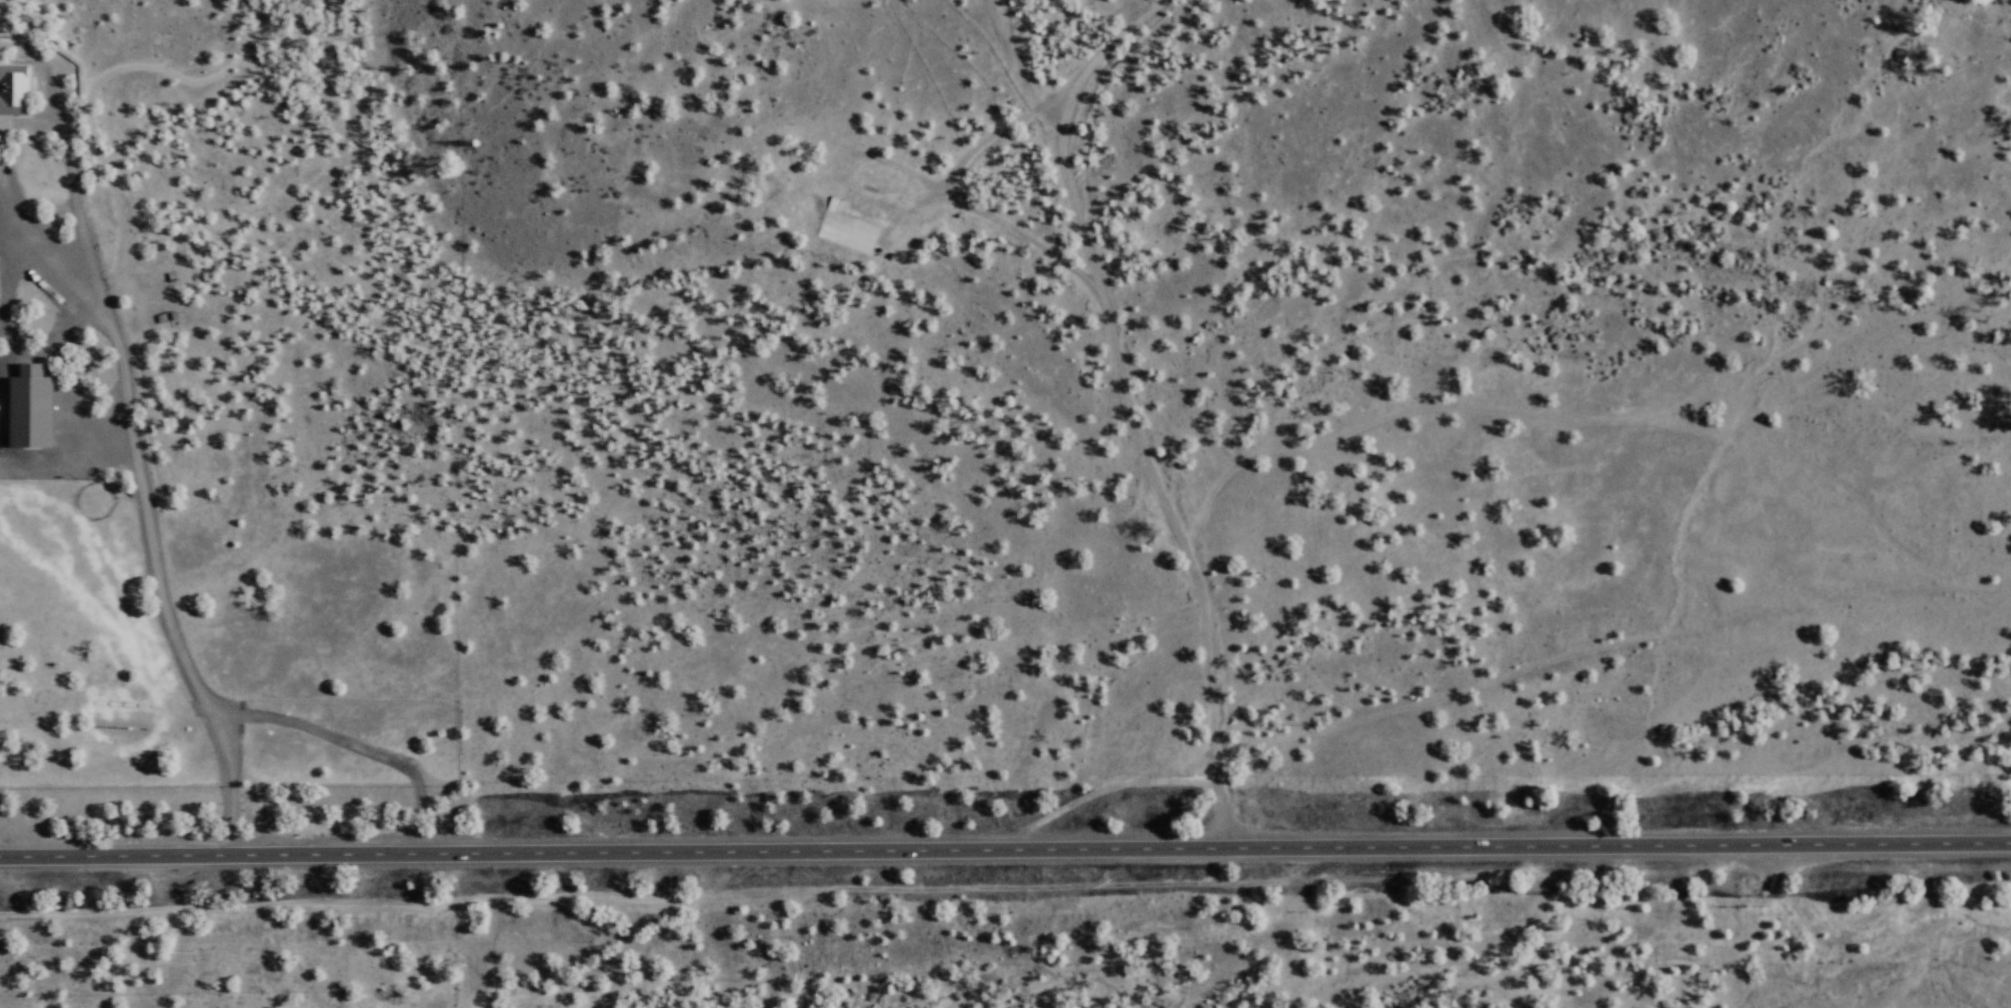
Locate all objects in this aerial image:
building: (13, 90)
road: (69, 180)
building: (845, 230)
road: (1, 316)
road: (1122, 407)
building: (31, 408)
road: (154, 575)
road: (1005, 849)

